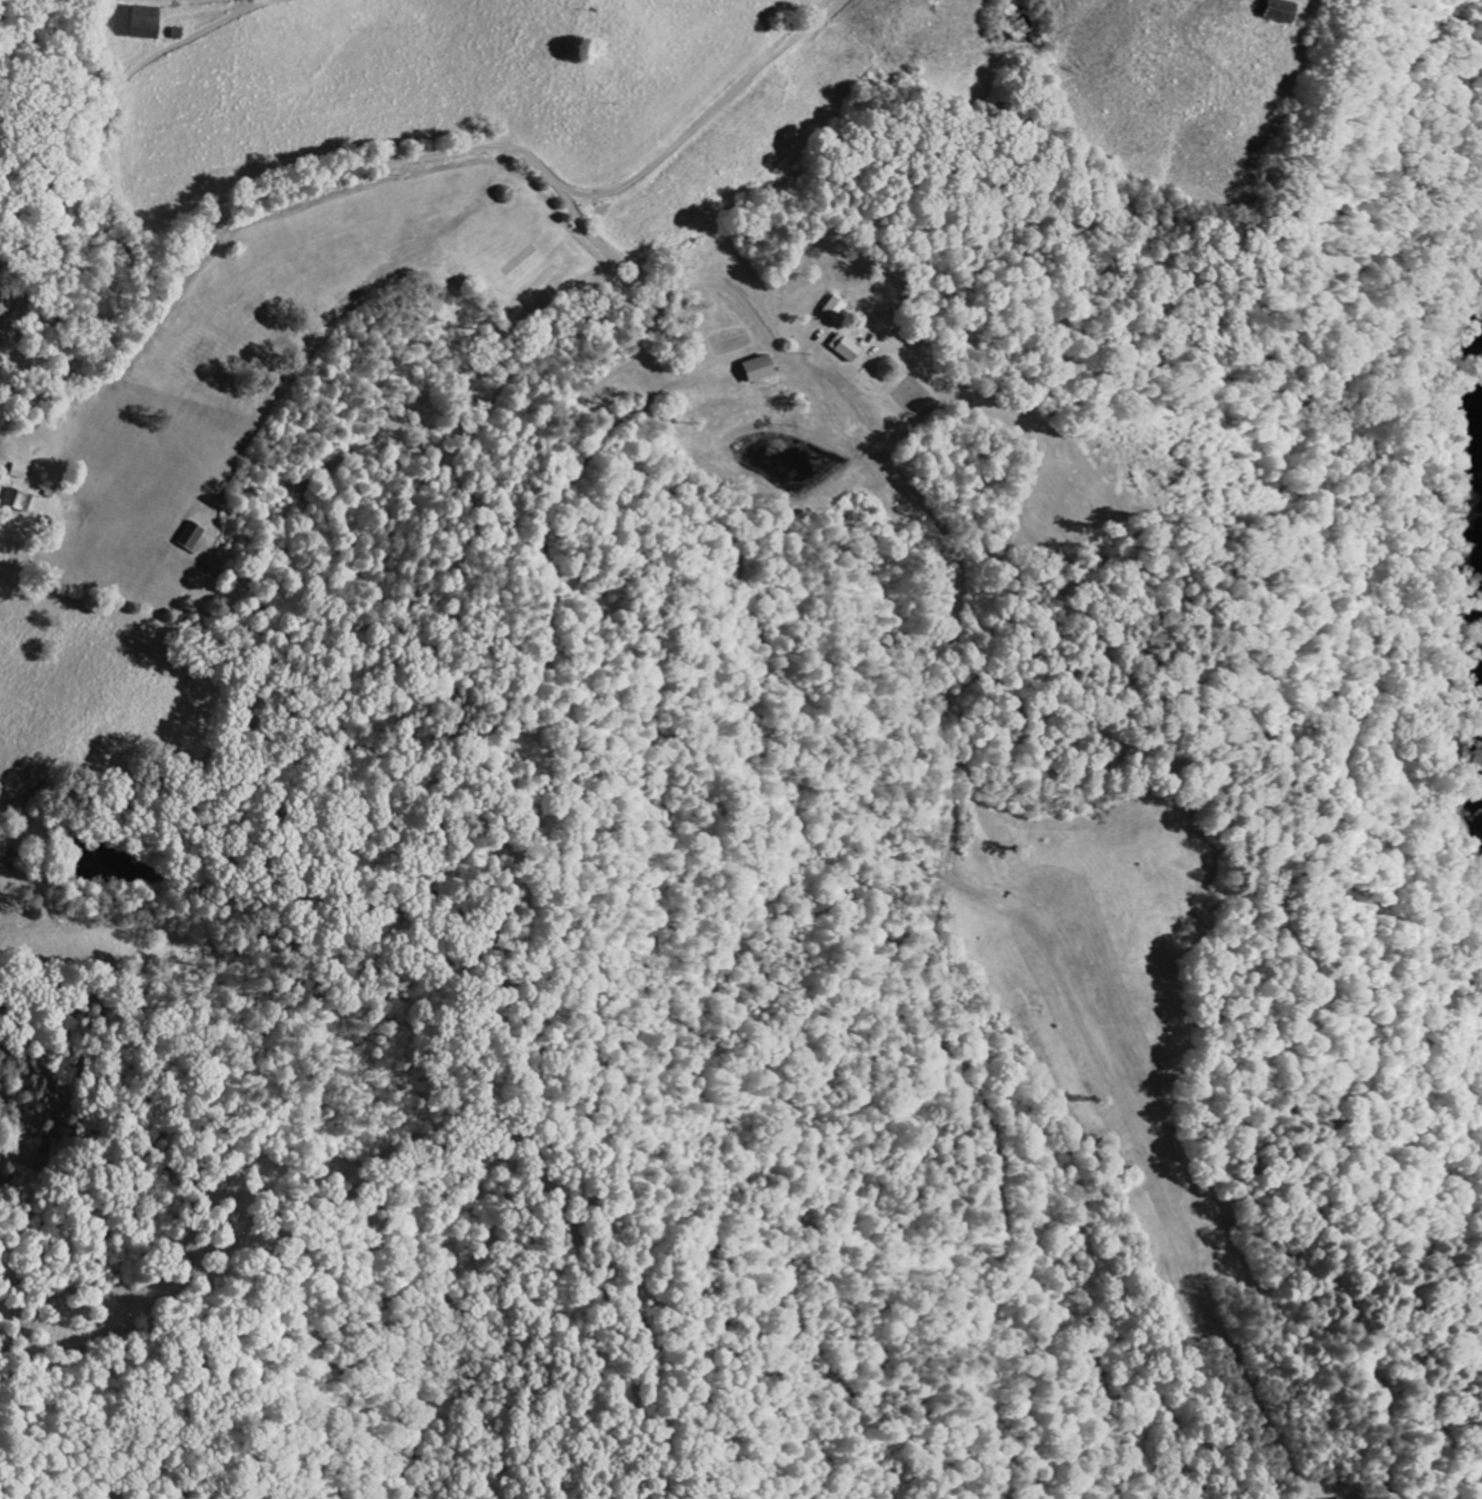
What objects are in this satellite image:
building: (1282, 11)
building: (147, 23)
road: (732, 122)
road: (389, 162)
road: (75, 165)
building: (835, 309)
road: (8, 348)
building: (847, 348)
road: (37, 369)
building: (762, 369)
road: (853, 460)
building: (20, 472)
building: (20, 500)
building: (195, 538)

